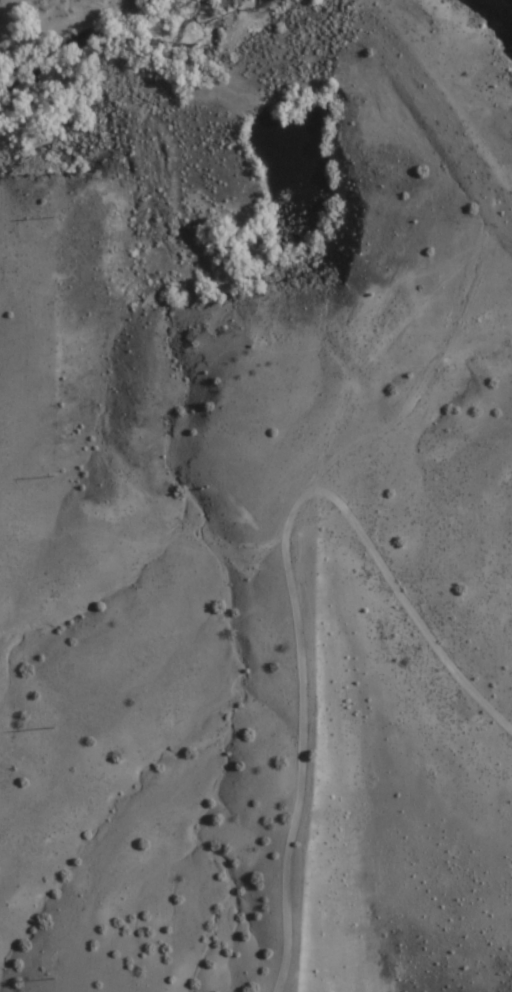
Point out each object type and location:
river: (500, 12)
river: (104, 53)

